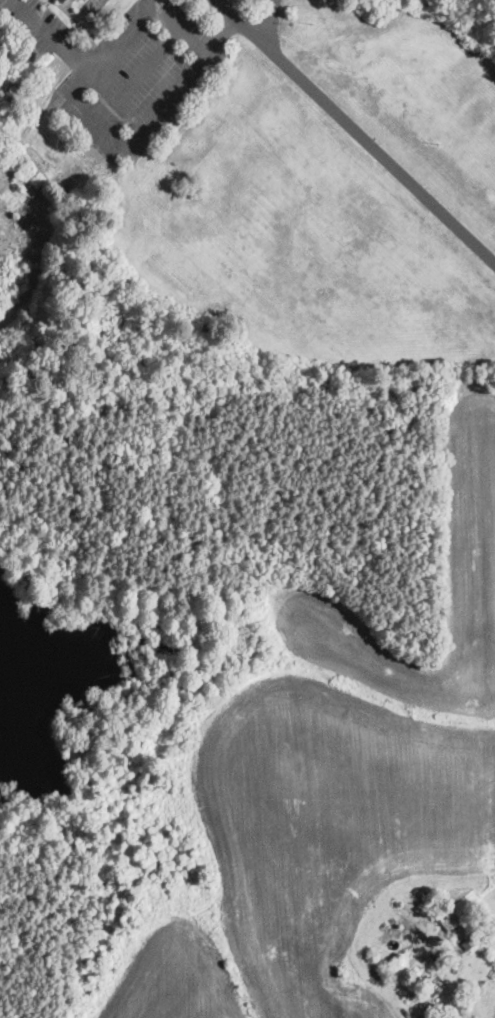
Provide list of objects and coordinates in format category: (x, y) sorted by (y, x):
building: (62, 1)
building: (91, 10)
road: (270, 22)
road: (79, 60)
road: (147, 64)
park: (9, 84)
road: (91, 116)
road: (356, 130)
building: (5, 172)
building: (69, 178)
building: (34, 211)
building: (4, 222)
park: (247, 399)
building: (458, 930)
building: (407, 962)
building: (426, 986)
road: (452, 1000)

